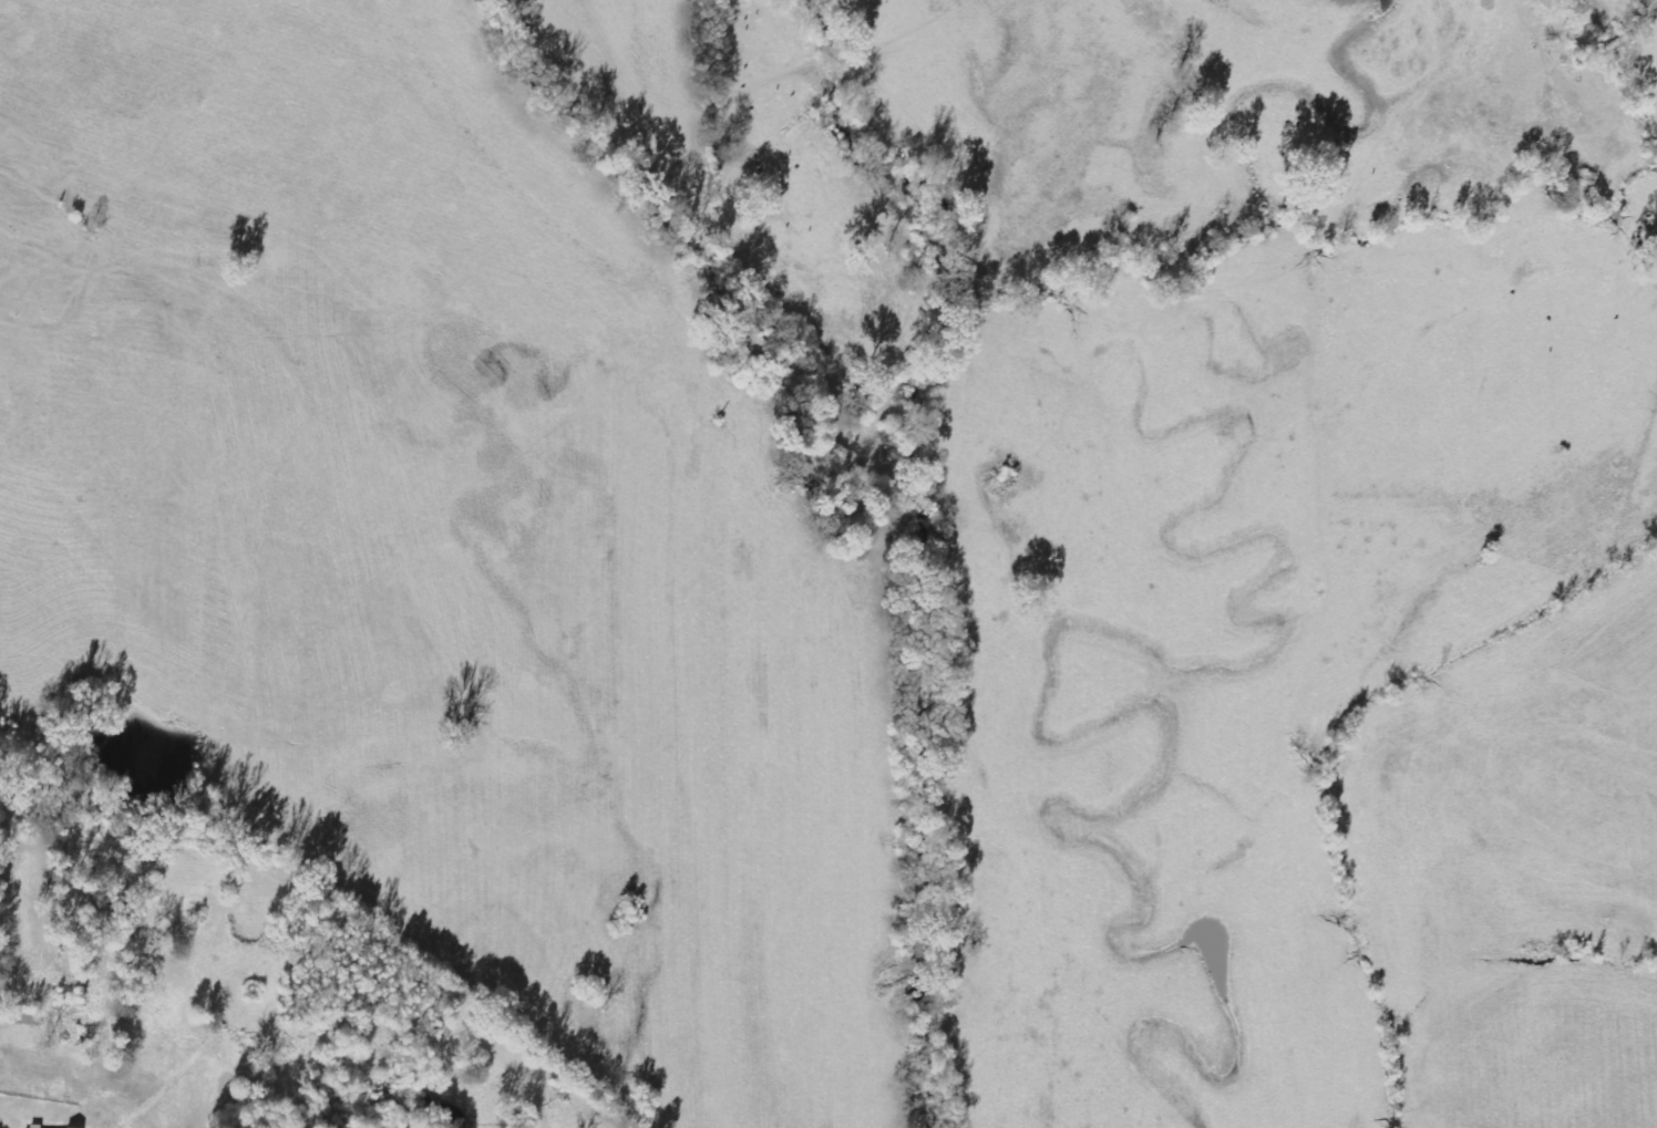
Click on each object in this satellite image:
building: (32, 1126)
building: (65, 1127)

